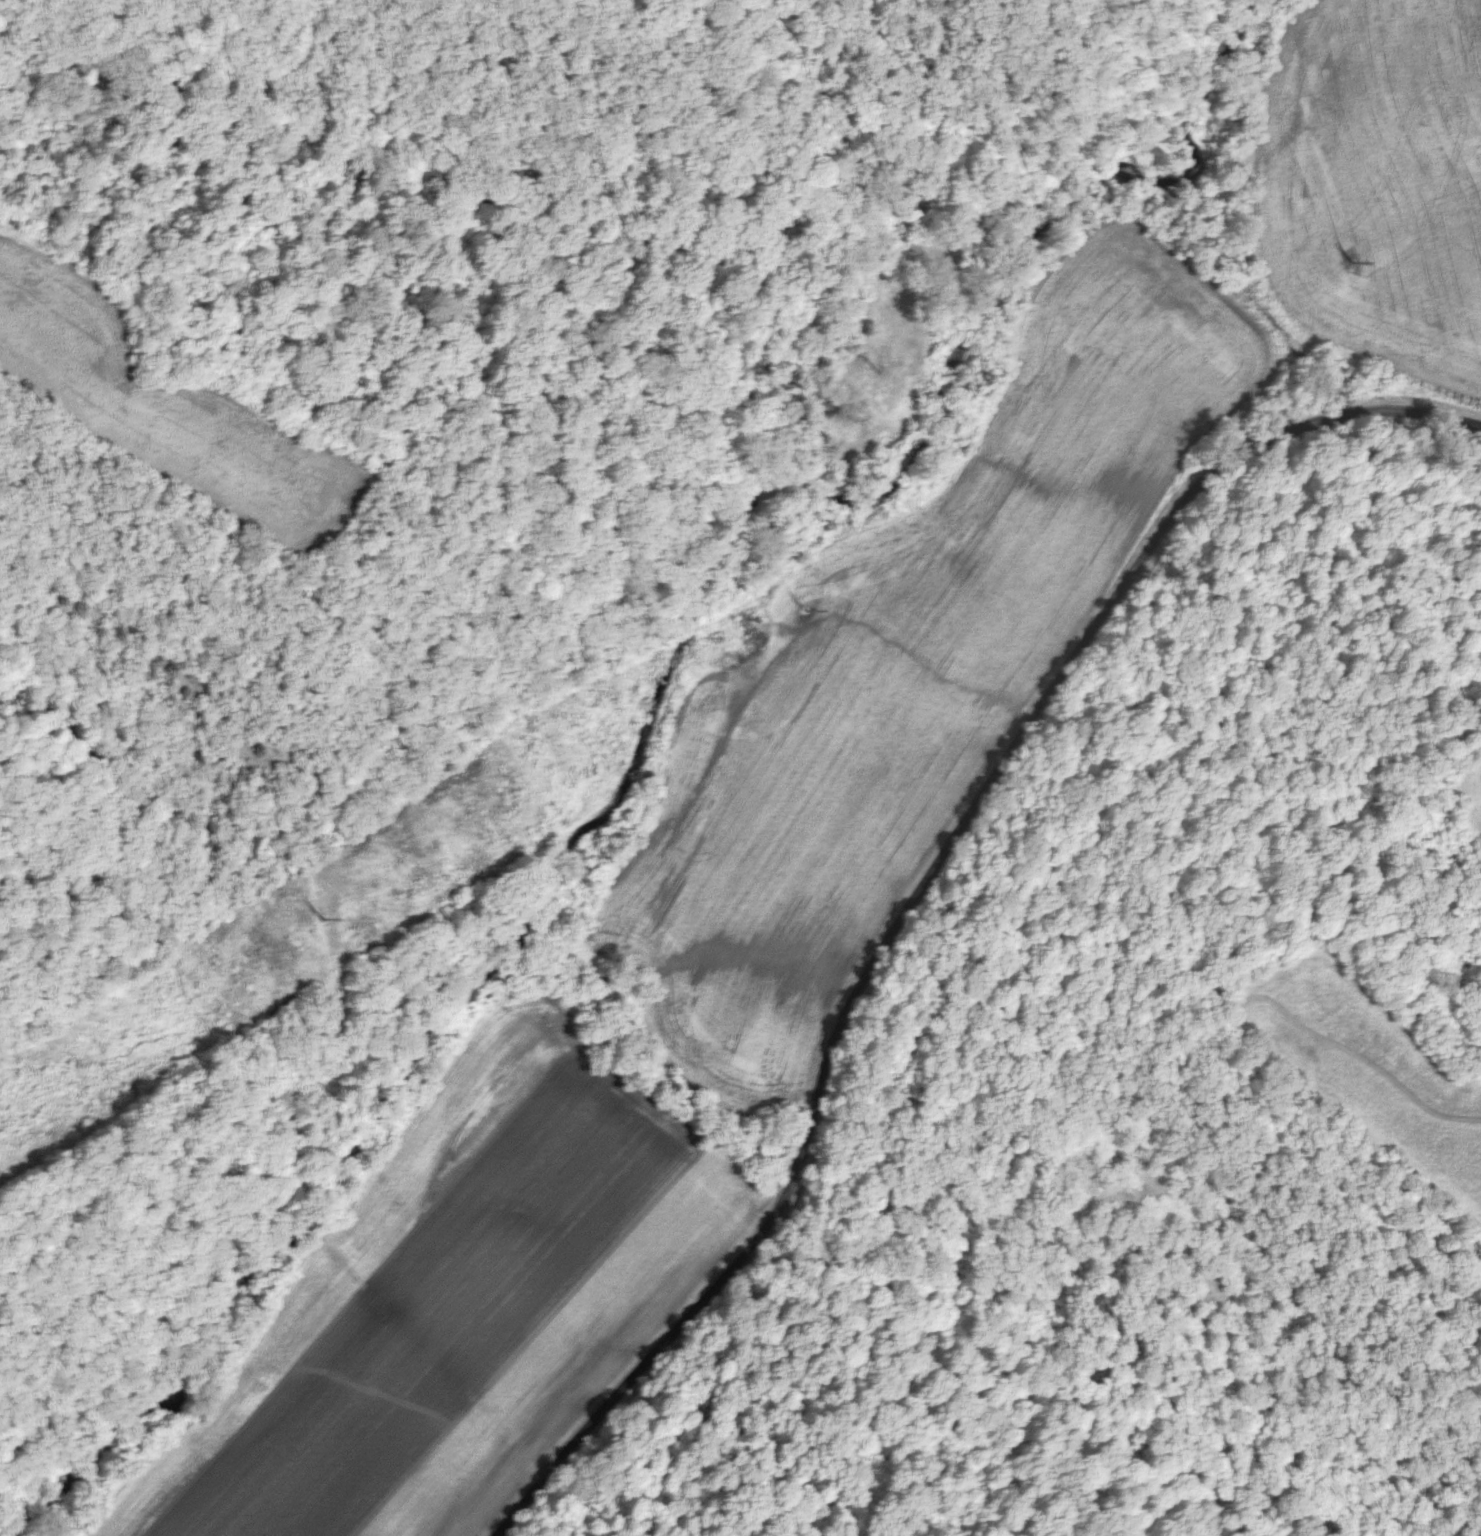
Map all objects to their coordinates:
power tower: (1353, 263)
power tower: (808, 610)
road: (927, 884)
power tower: (324, 917)

